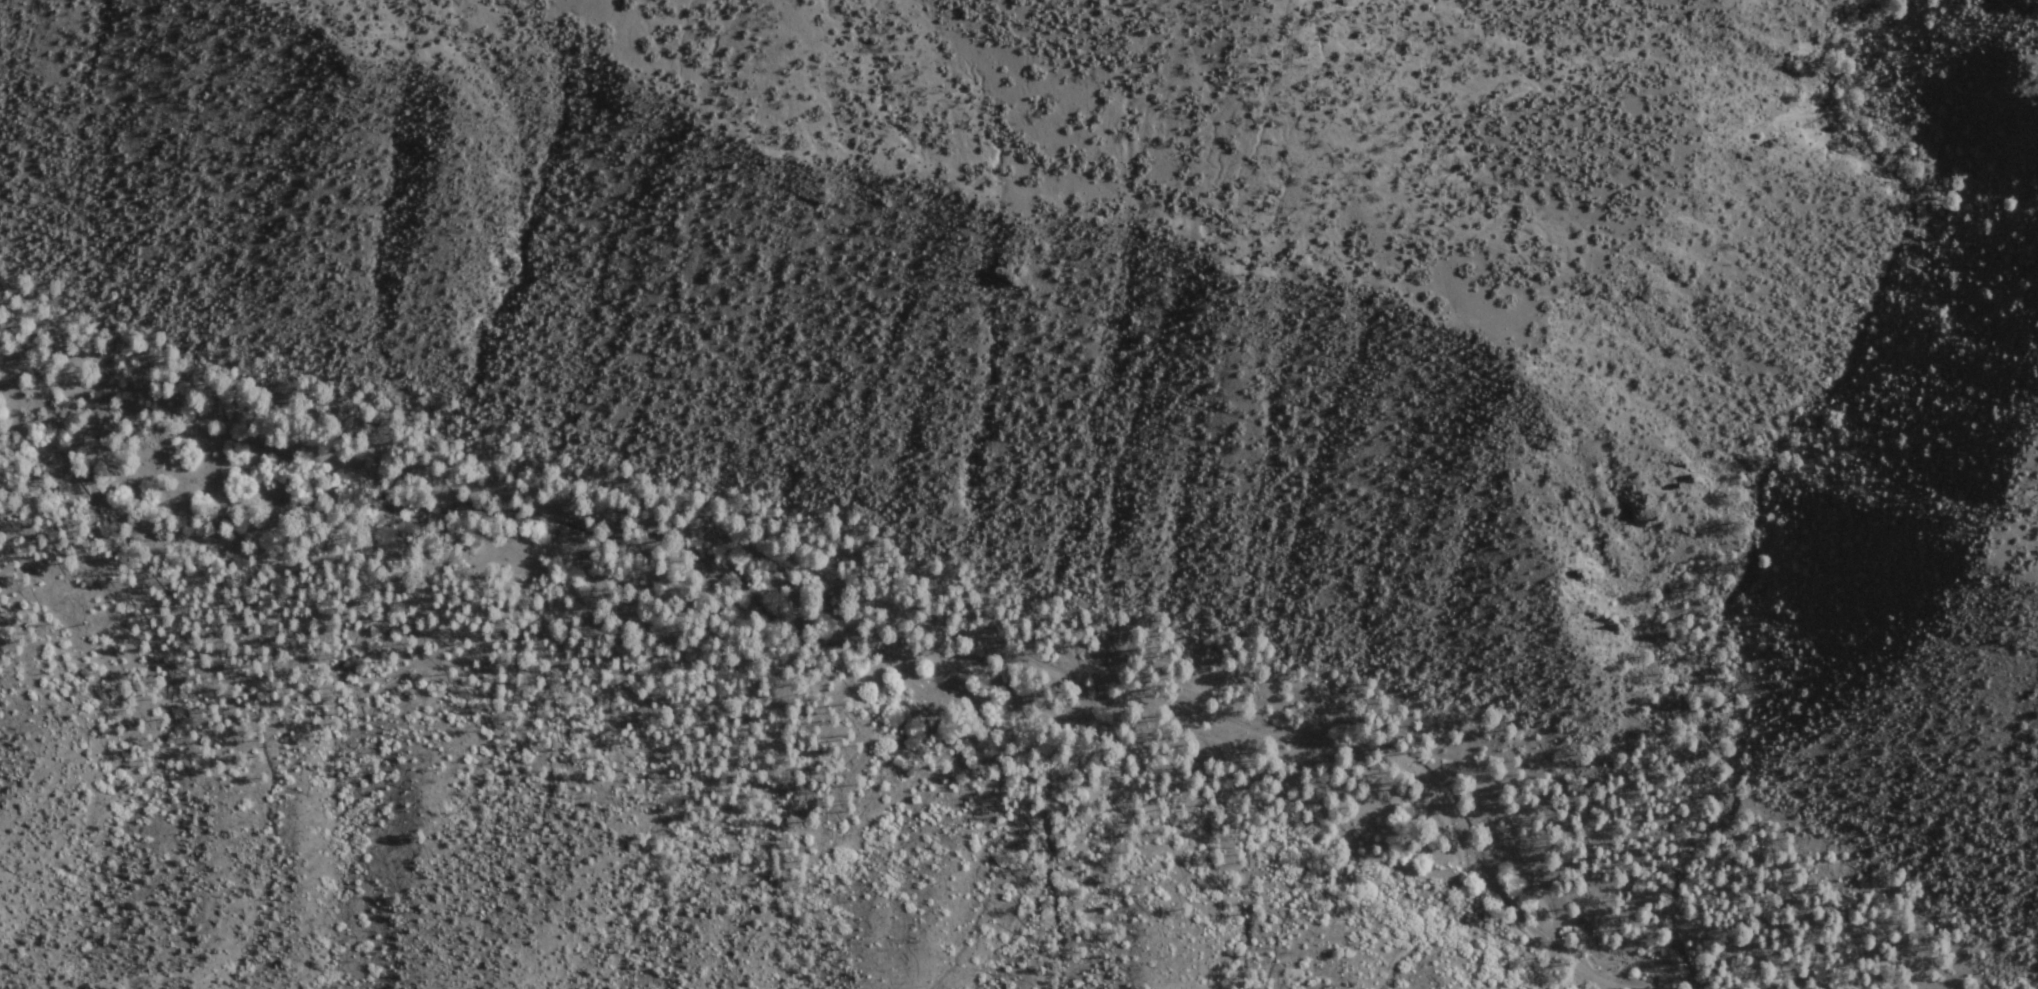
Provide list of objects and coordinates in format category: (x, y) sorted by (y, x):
road: (571, 501)
road: (1420, 779)

